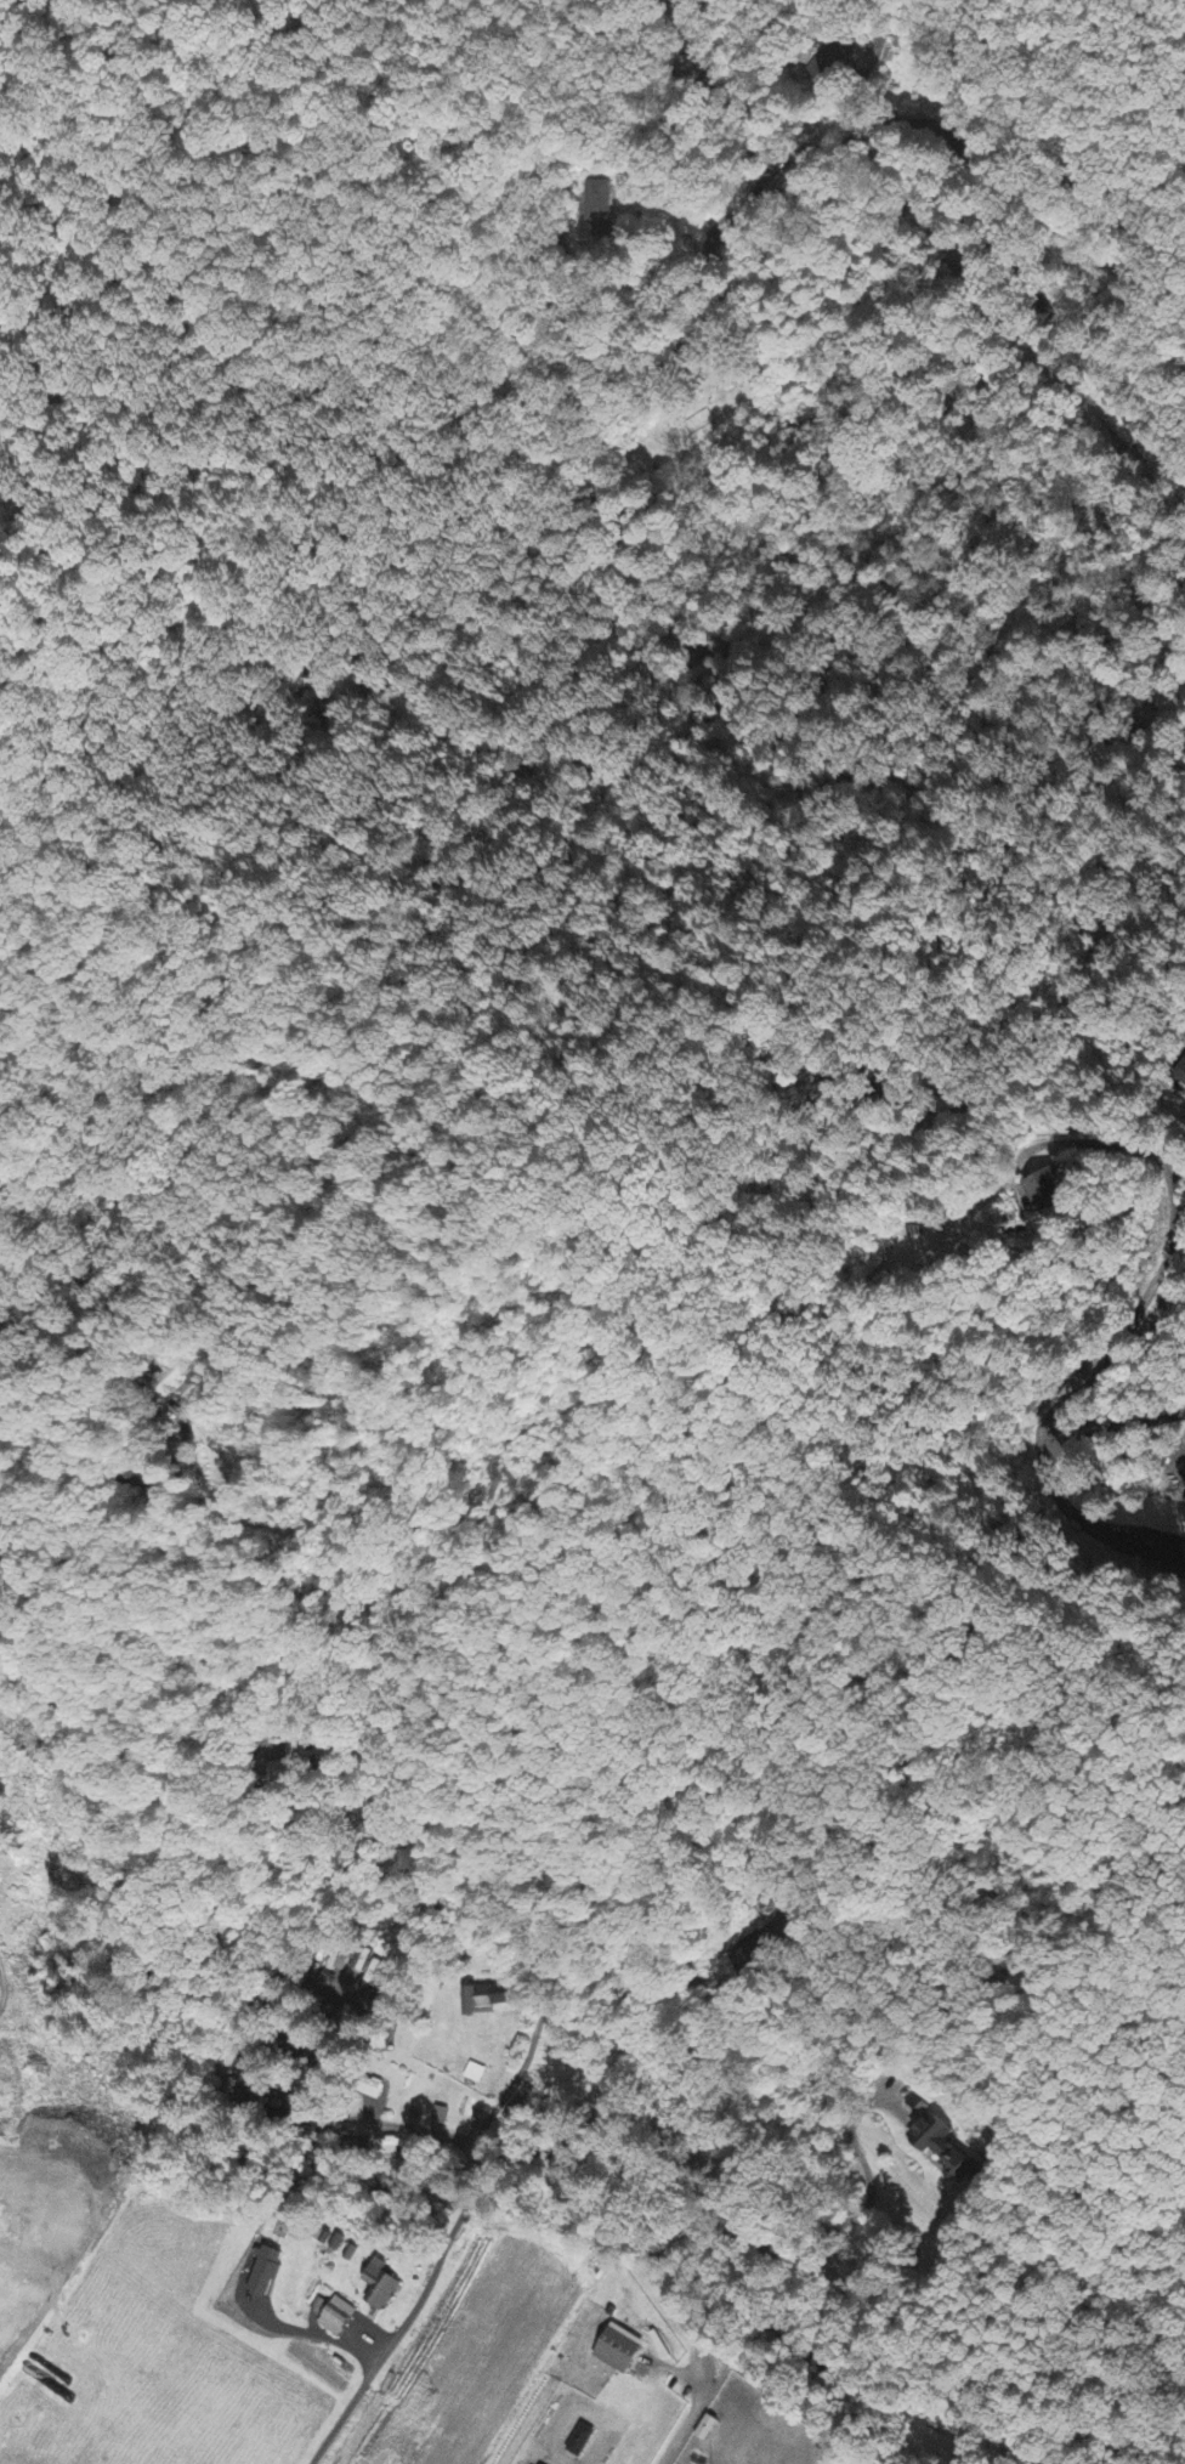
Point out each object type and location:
road: (918, 23)
road: (572, 96)
road: (959, 142)
building: (1045, 1190)
road: (1135, 1314)
building: (172, 1383)
road: (68, 1463)
road: (203, 1620)
building: (374, 1975)
road: (663, 1979)
building: (486, 1999)
road: (364, 2122)
building: (941, 2147)
road: (708, 2183)
road: (448, 2241)
building: (267, 2271)
building: (380, 2285)
building: (338, 2317)
road: (301, 2329)
road: (35, 2334)
building: (619, 2352)

